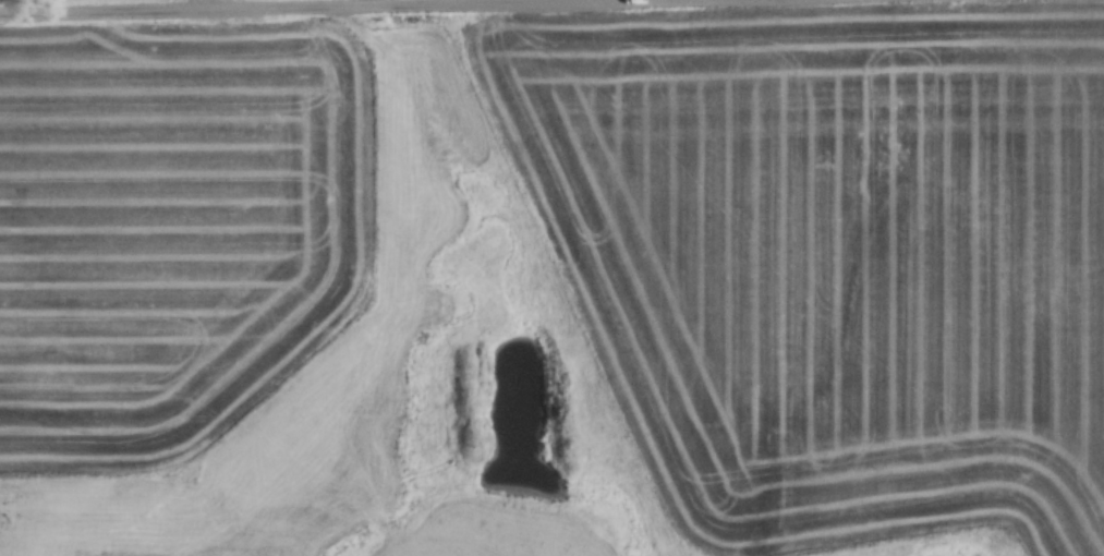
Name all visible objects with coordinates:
road: (247, 5)
river: (537, 419)

